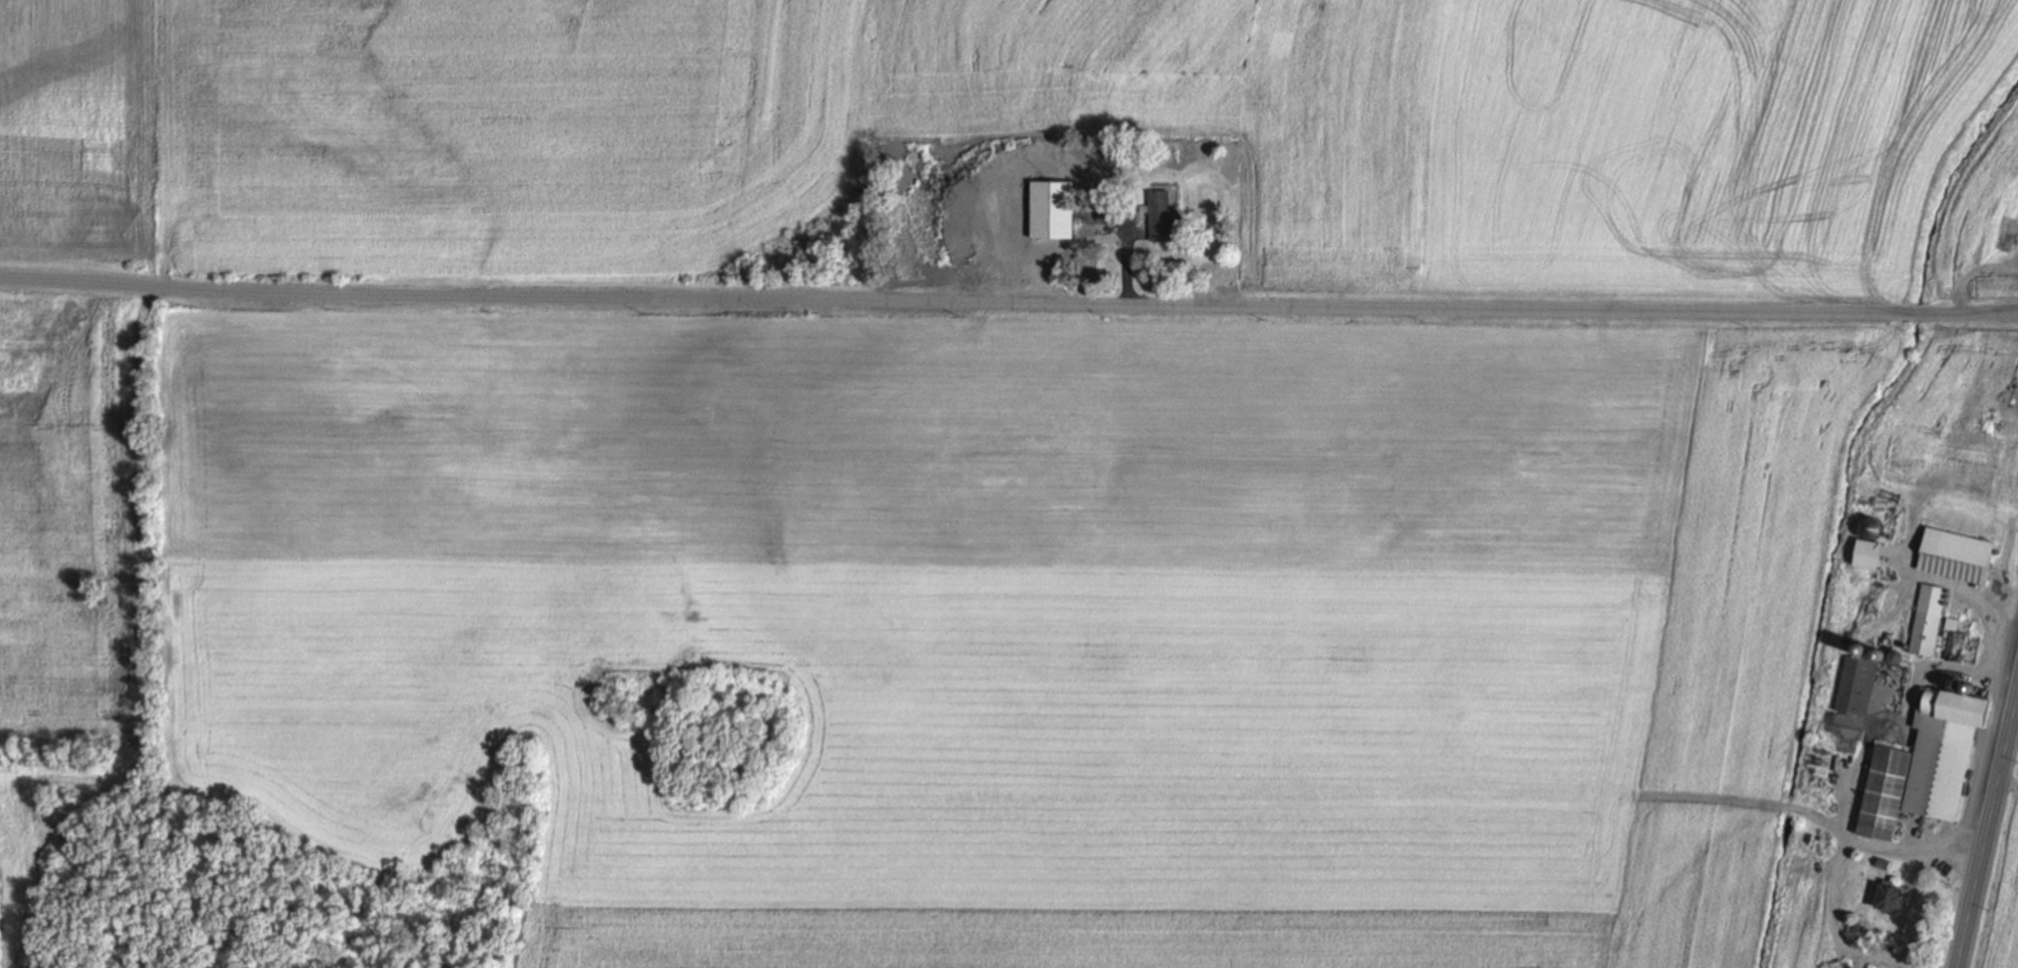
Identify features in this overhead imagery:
building: (1053, 207)
building: (1107, 212)
building: (1162, 216)
building: (1105, 246)
road: (1008, 305)
building: (1870, 555)
building: (1956, 555)
building: (1928, 621)
building: (1959, 640)
building: (1906, 660)
building: (1857, 686)
building: (1944, 750)
building: (1884, 793)
road: (1987, 831)
building: (1885, 864)
building: (1891, 897)
crop: (2006, 916)

